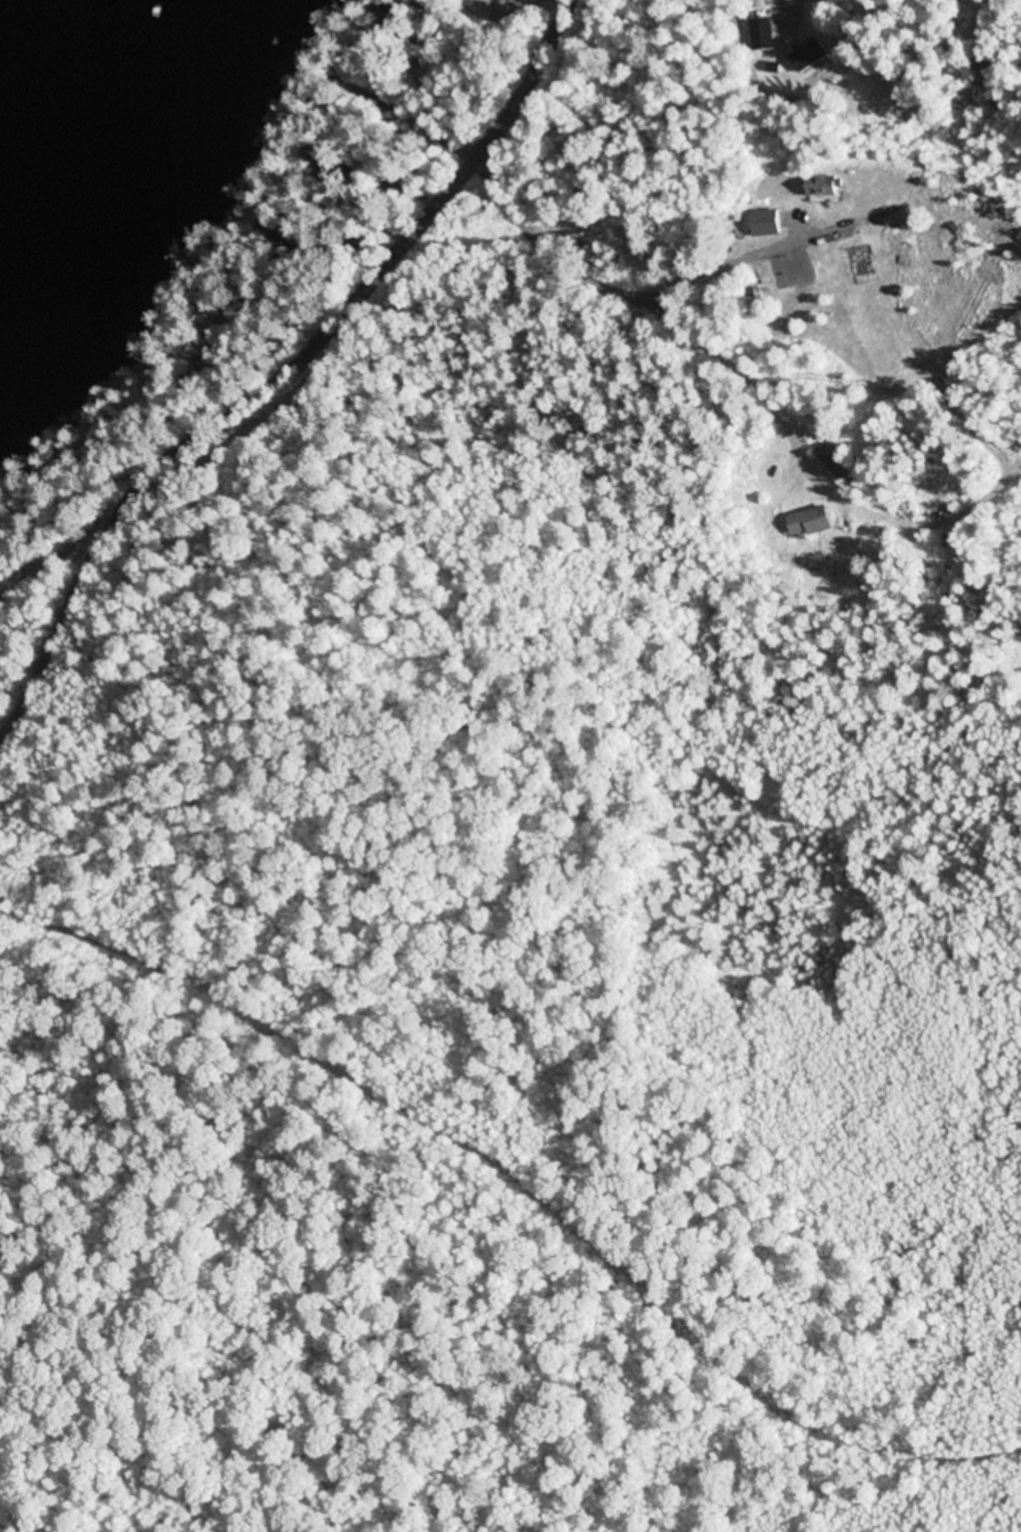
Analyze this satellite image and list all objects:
building: (759, 3)
building: (763, 33)
building: (810, 55)
building: (827, 188)
building: (901, 219)
building: (768, 222)
road: (549, 241)
building: (296, 243)
road: (279, 377)
building: (841, 463)
building: (811, 521)
road: (524, 1168)

